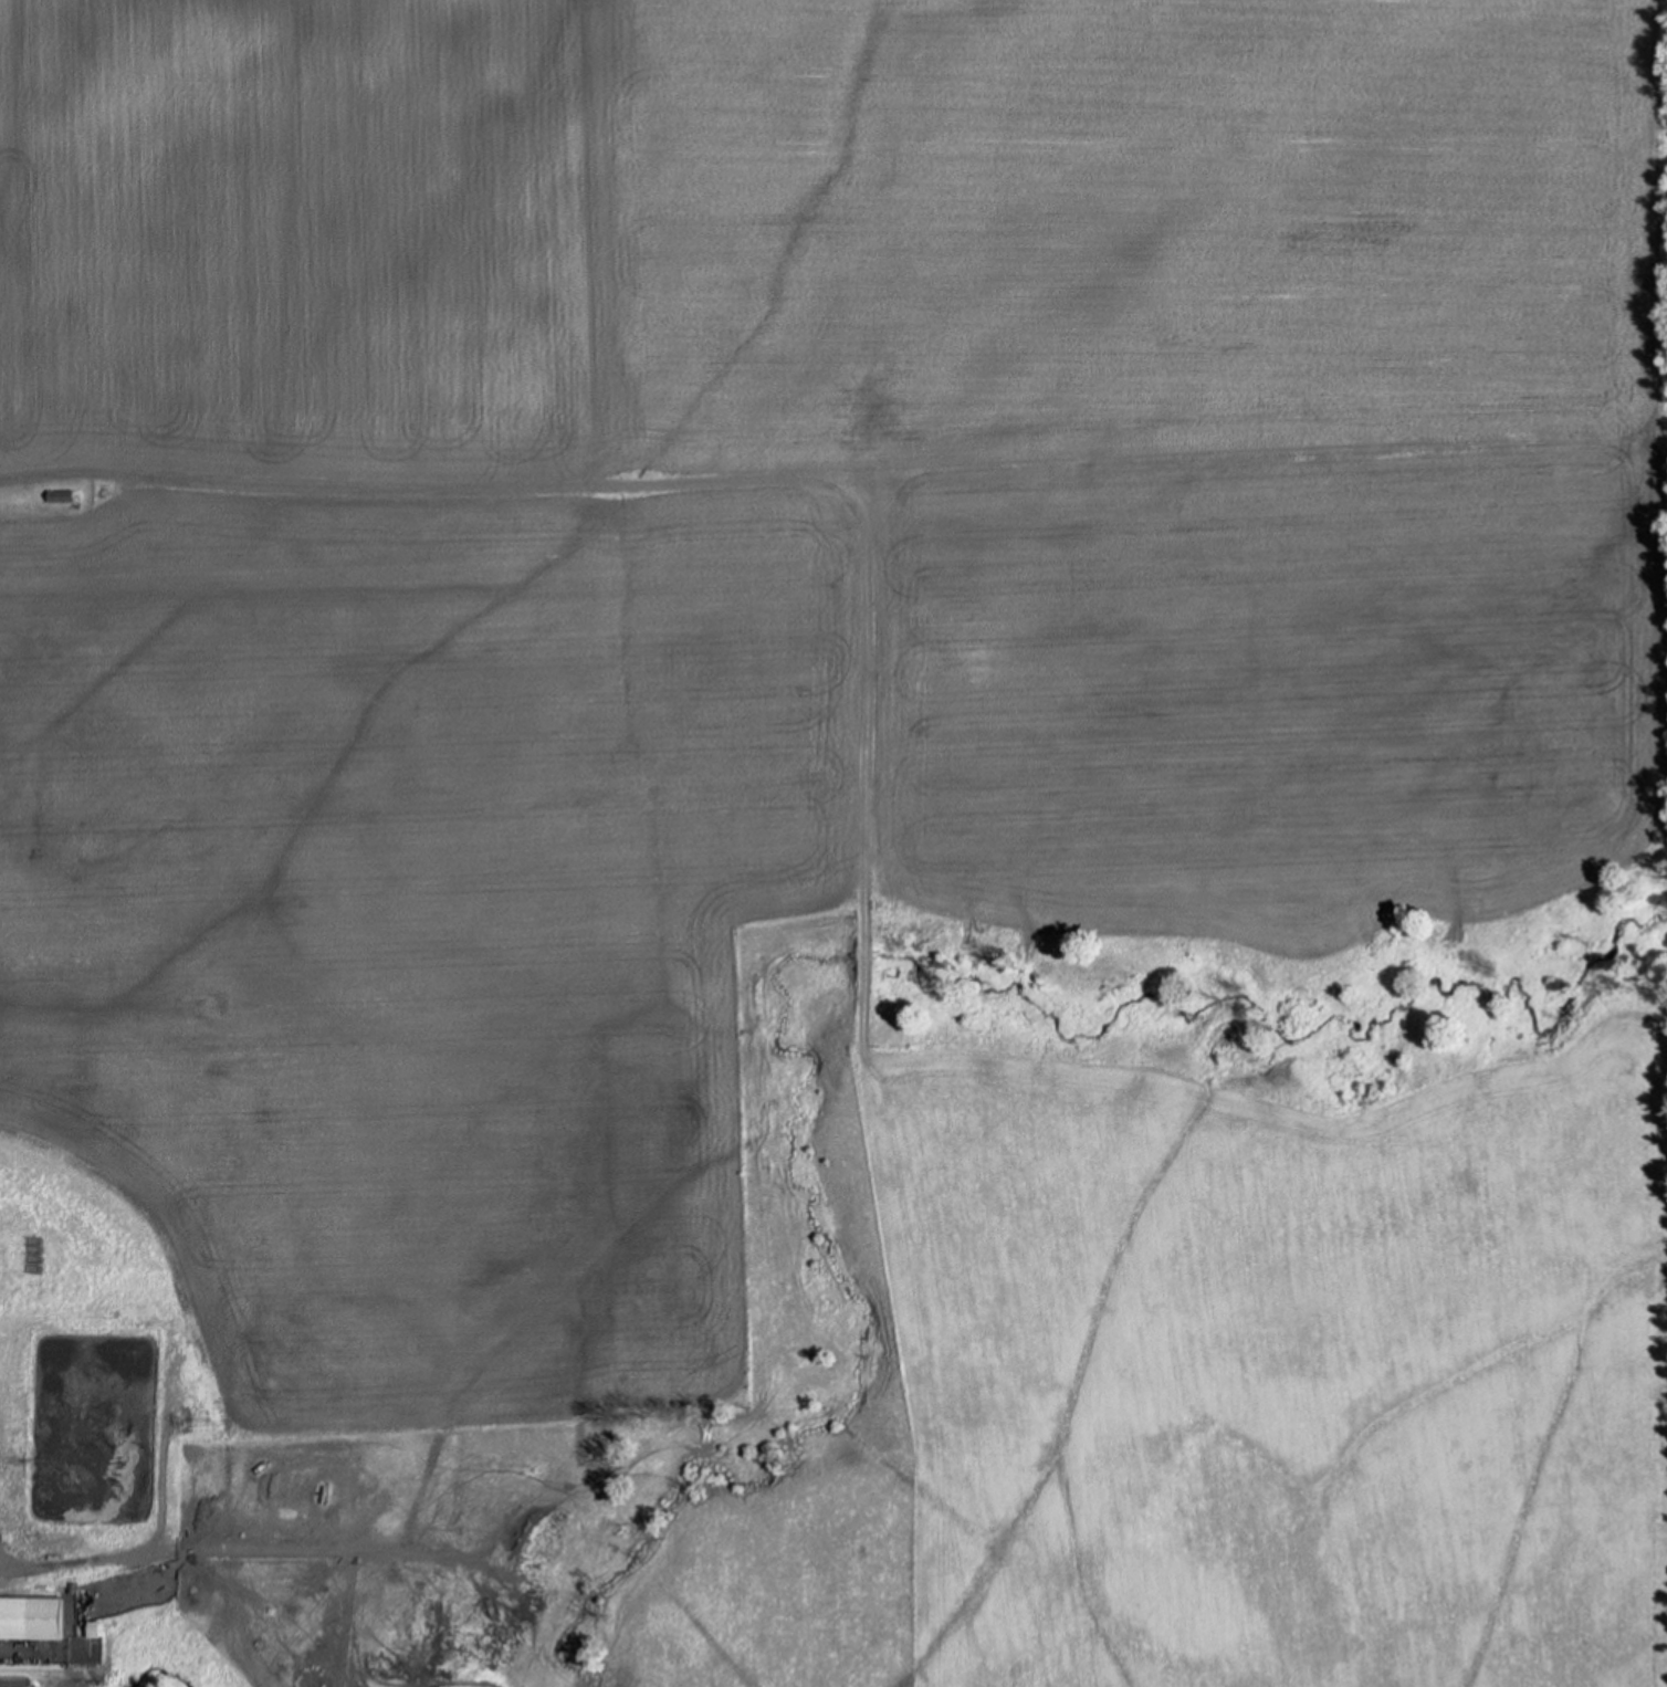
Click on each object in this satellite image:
building: (60, 497)
building: (32, 1617)
building: (98, 1628)

